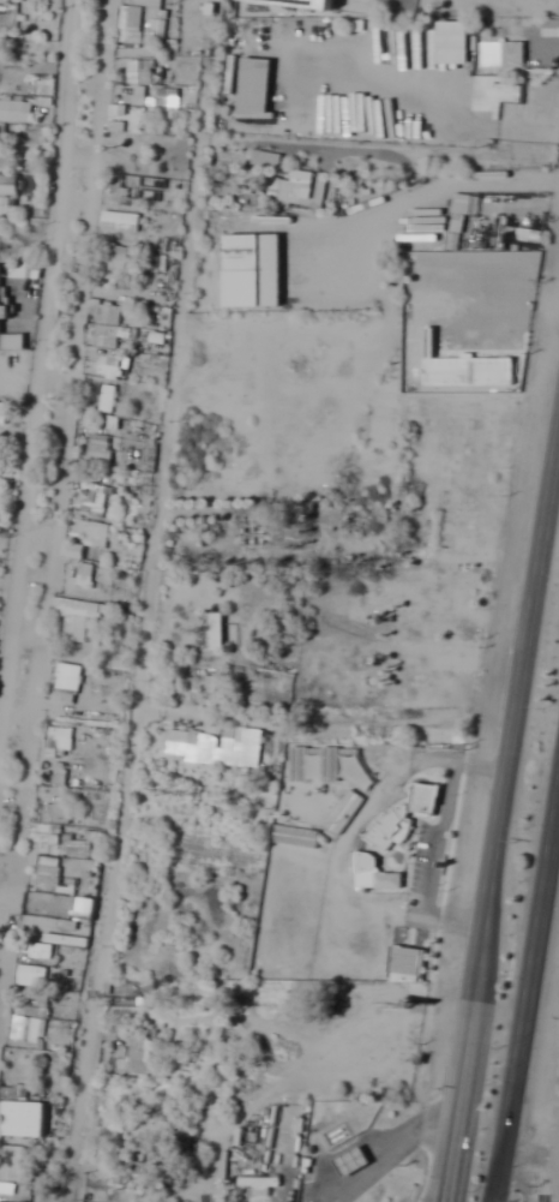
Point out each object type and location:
road: (505, 765)

